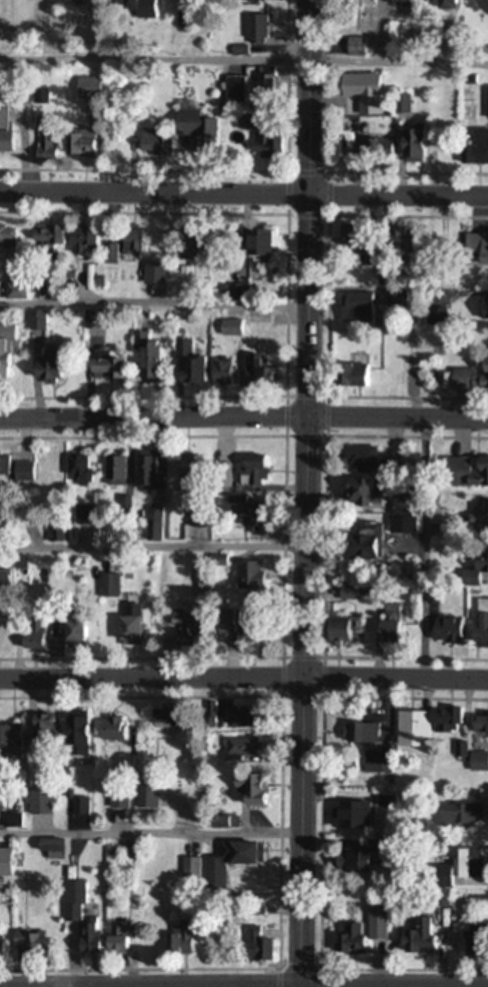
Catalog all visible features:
building: (250, 1)
building: (440, 5)
building: (137, 8)
building: (253, 30)
building: (15, 47)
building: (355, 47)
road: (244, 61)
building: (264, 87)
building: (359, 92)
building: (38, 97)
building: (400, 105)
building: (486, 105)
building: (193, 129)
building: (4, 135)
building: (258, 138)
building: (153, 143)
building: (77, 145)
building: (46, 146)
building: (370, 146)
building: (410, 146)
building: (474, 150)
road: (243, 197)
building: (44, 236)
building: (6, 237)
building: (79, 240)
building: (399, 241)
building: (476, 245)
building: (121, 246)
building: (354, 246)
building: (254, 247)
building: (184, 248)
building: (149, 275)
building: (236, 292)
road: (152, 305)
building: (483, 308)
building: (354, 309)
building: (436, 311)
building: (89, 320)
building: (33, 322)
building: (4, 352)
building: (144, 360)
building: (184, 365)
building: (43, 366)
building: (102, 366)
building: (253, 371)
building: (217, 372)
building: (350, 376)
building: (469, 378)
road: (244, 419)
building: (358, 459)
building: (2, 466)
building: (75, 470)
building: (111, 471)
building: (186, 471)
building: (145, 472)
building: (465, 472)
building: (20, 473)
building: (246, 474)
road: (303, 493)
building: (355, 494)
building: (481, 513)
building: (247, 517)
building: (150, 524)
building: (51, 531)
road: (151, 547)
building: (355, 548)
road: (423, 553)
building: (70, 564)
building: (473, 569)
building: (245, 577)
building: (1, 579)
building: (105, 587)
building: (345, 593)
building: (479, 623)
building: (126, 625)
building: (237, 625)
building: (387, 626)
building: (441, 629)
building: (179, 630)
building: (337, 631)
building: (66, 634)
building: (1, 638)
building: (28, 639)
road: (244, 682)
building: (226, 716)
building: (160, 719)
building: (478, 725)
building: (422, 727)
building: (109, 731)
building: (39, 734)
building: (357, 735)
building: (72, 736)
building: (9, 741)
building: (238, 749)
building: (476, 763)
building: (376, 765)
building: (245, 789)
building: (143, 795)
building: (0, 802)
building: (35, 804)
building: (77, 808)
building: (456, 815)
building: (348, 817)
building: (7, 822)
road: (150, 834)
building: (48, 850)
building: (127, 851)
building: (353, 863)
building: (3, 864)
building: (227, 864)
building: (188, 870)
building: (455, 870)
building: (70, 903)
building: (374, 925)
building: (115, 939)
building: (84, 940)
building: (345, 940)
building: (416, 940)
building: (175, 941)
building: (472, 943)
building: (27, 945)
building: (251, 947)

